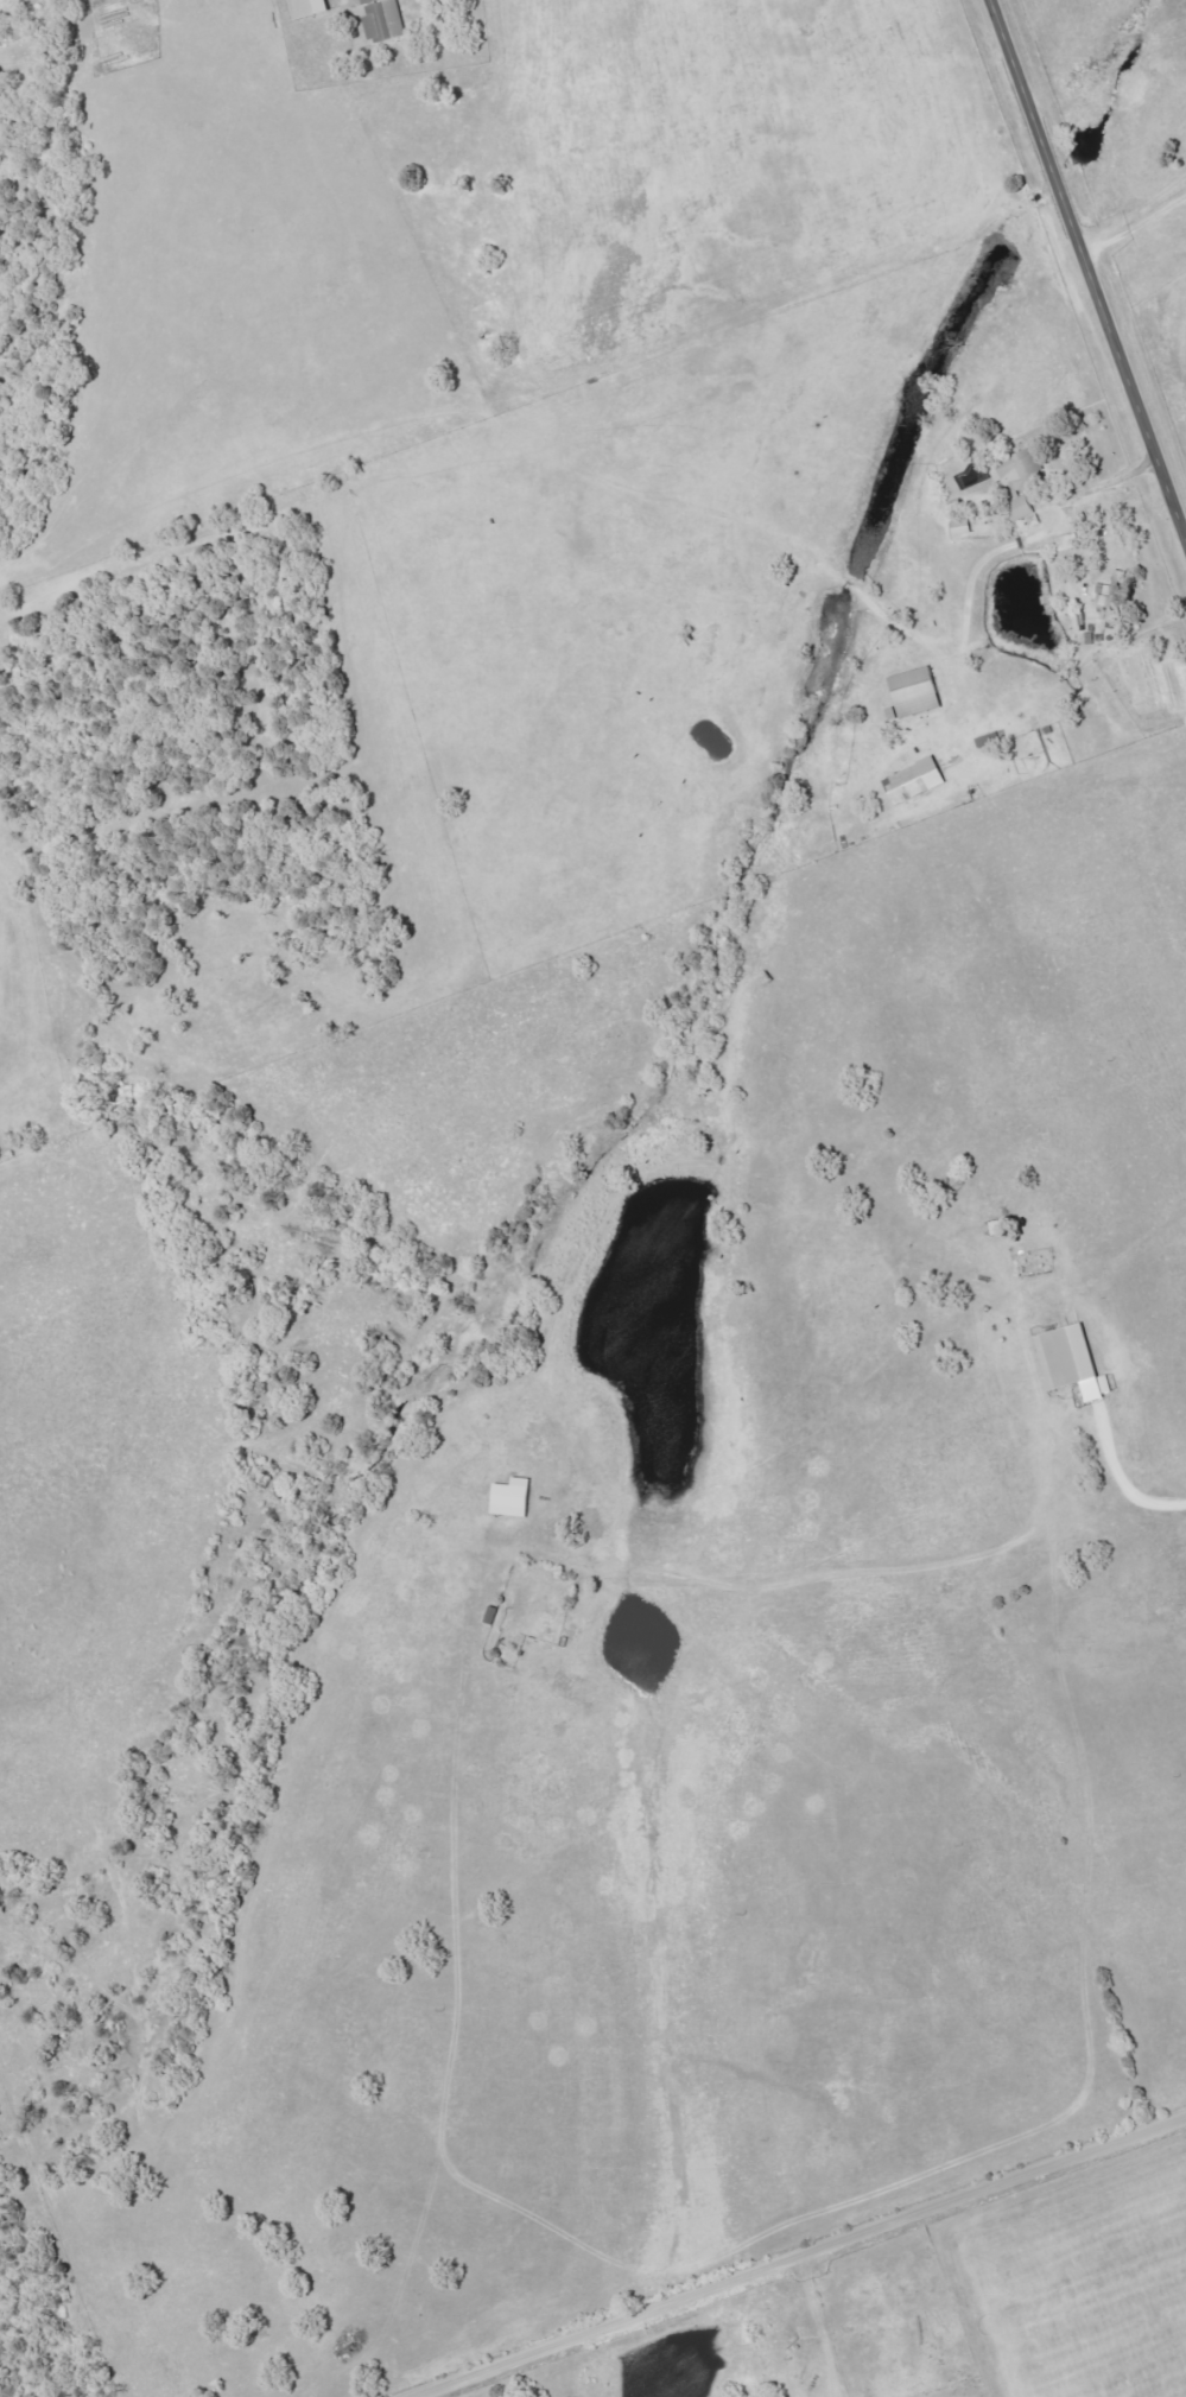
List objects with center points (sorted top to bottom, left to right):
building: (310, 8)
building: (385, 20)
road: (1087, 268)
building: (1019, 481)
building: (962, 527)
building: (1067, 543)
building: (1103, 595)
building: (1111, 619)
building: (918, 692)
building: (917, 781)
building: (1073, 1361)
road: (1090, 1415)
building: (514, 1498)
road: (797, 2256)

